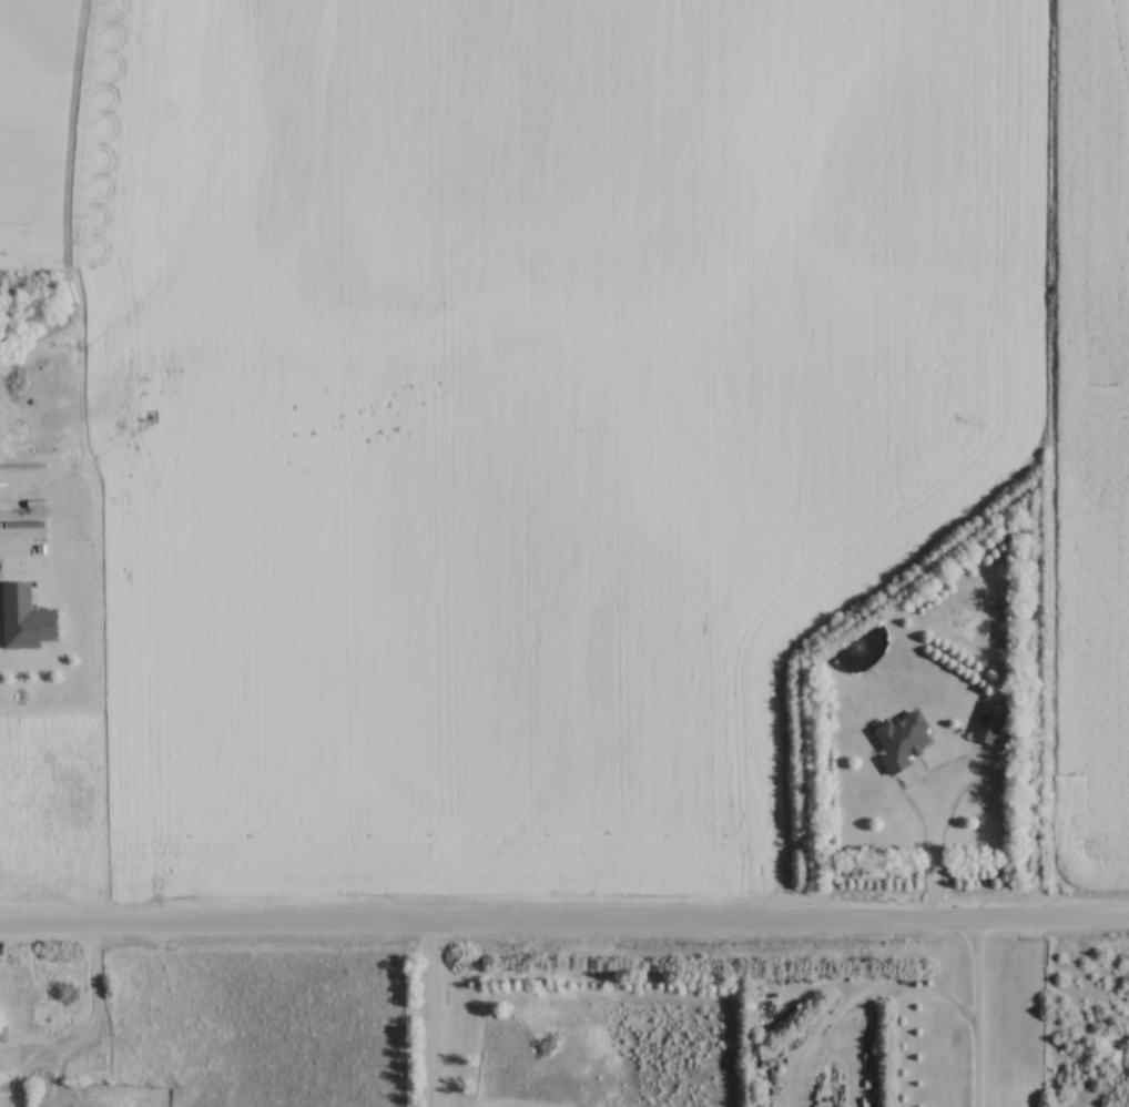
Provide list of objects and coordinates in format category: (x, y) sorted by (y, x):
building: (990, 722)
building: (905, 741)
road: (933, 842)
road: (564, 922)
road: (975, 1013)
road: (429, 1015)
building: (3, 1033)

